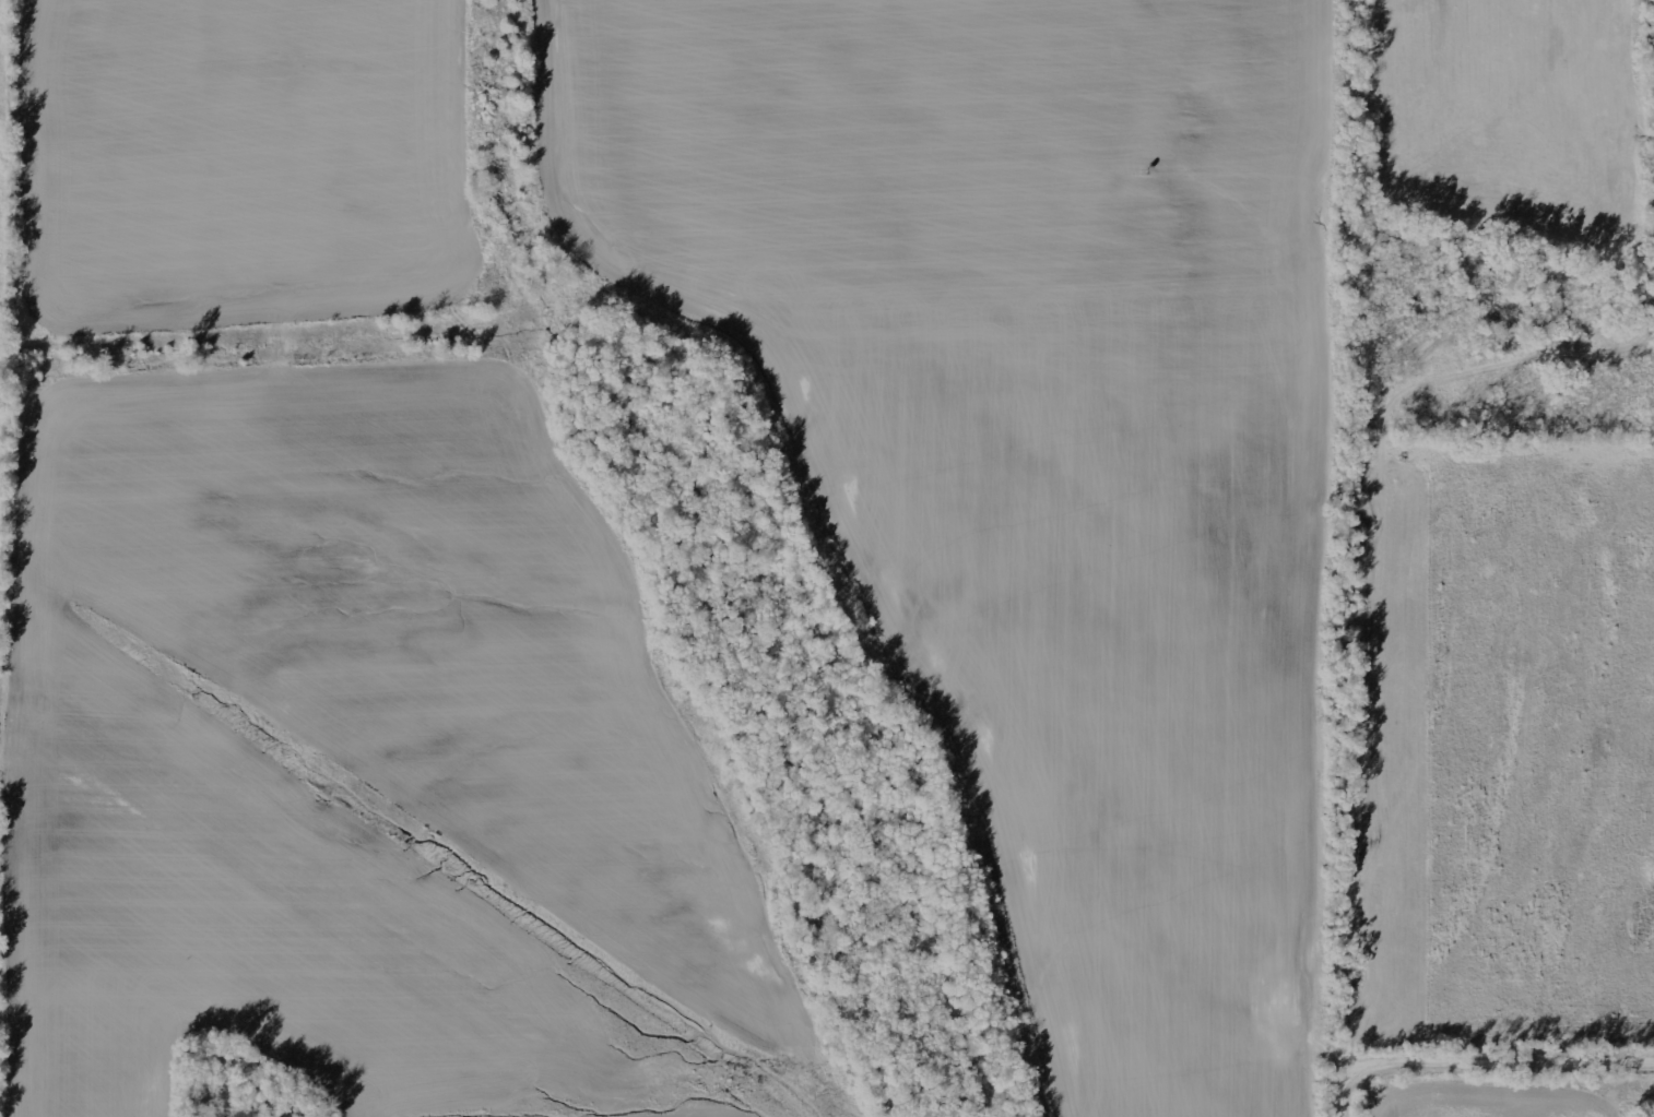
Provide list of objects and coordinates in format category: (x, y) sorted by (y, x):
road: (1477, 1051)

